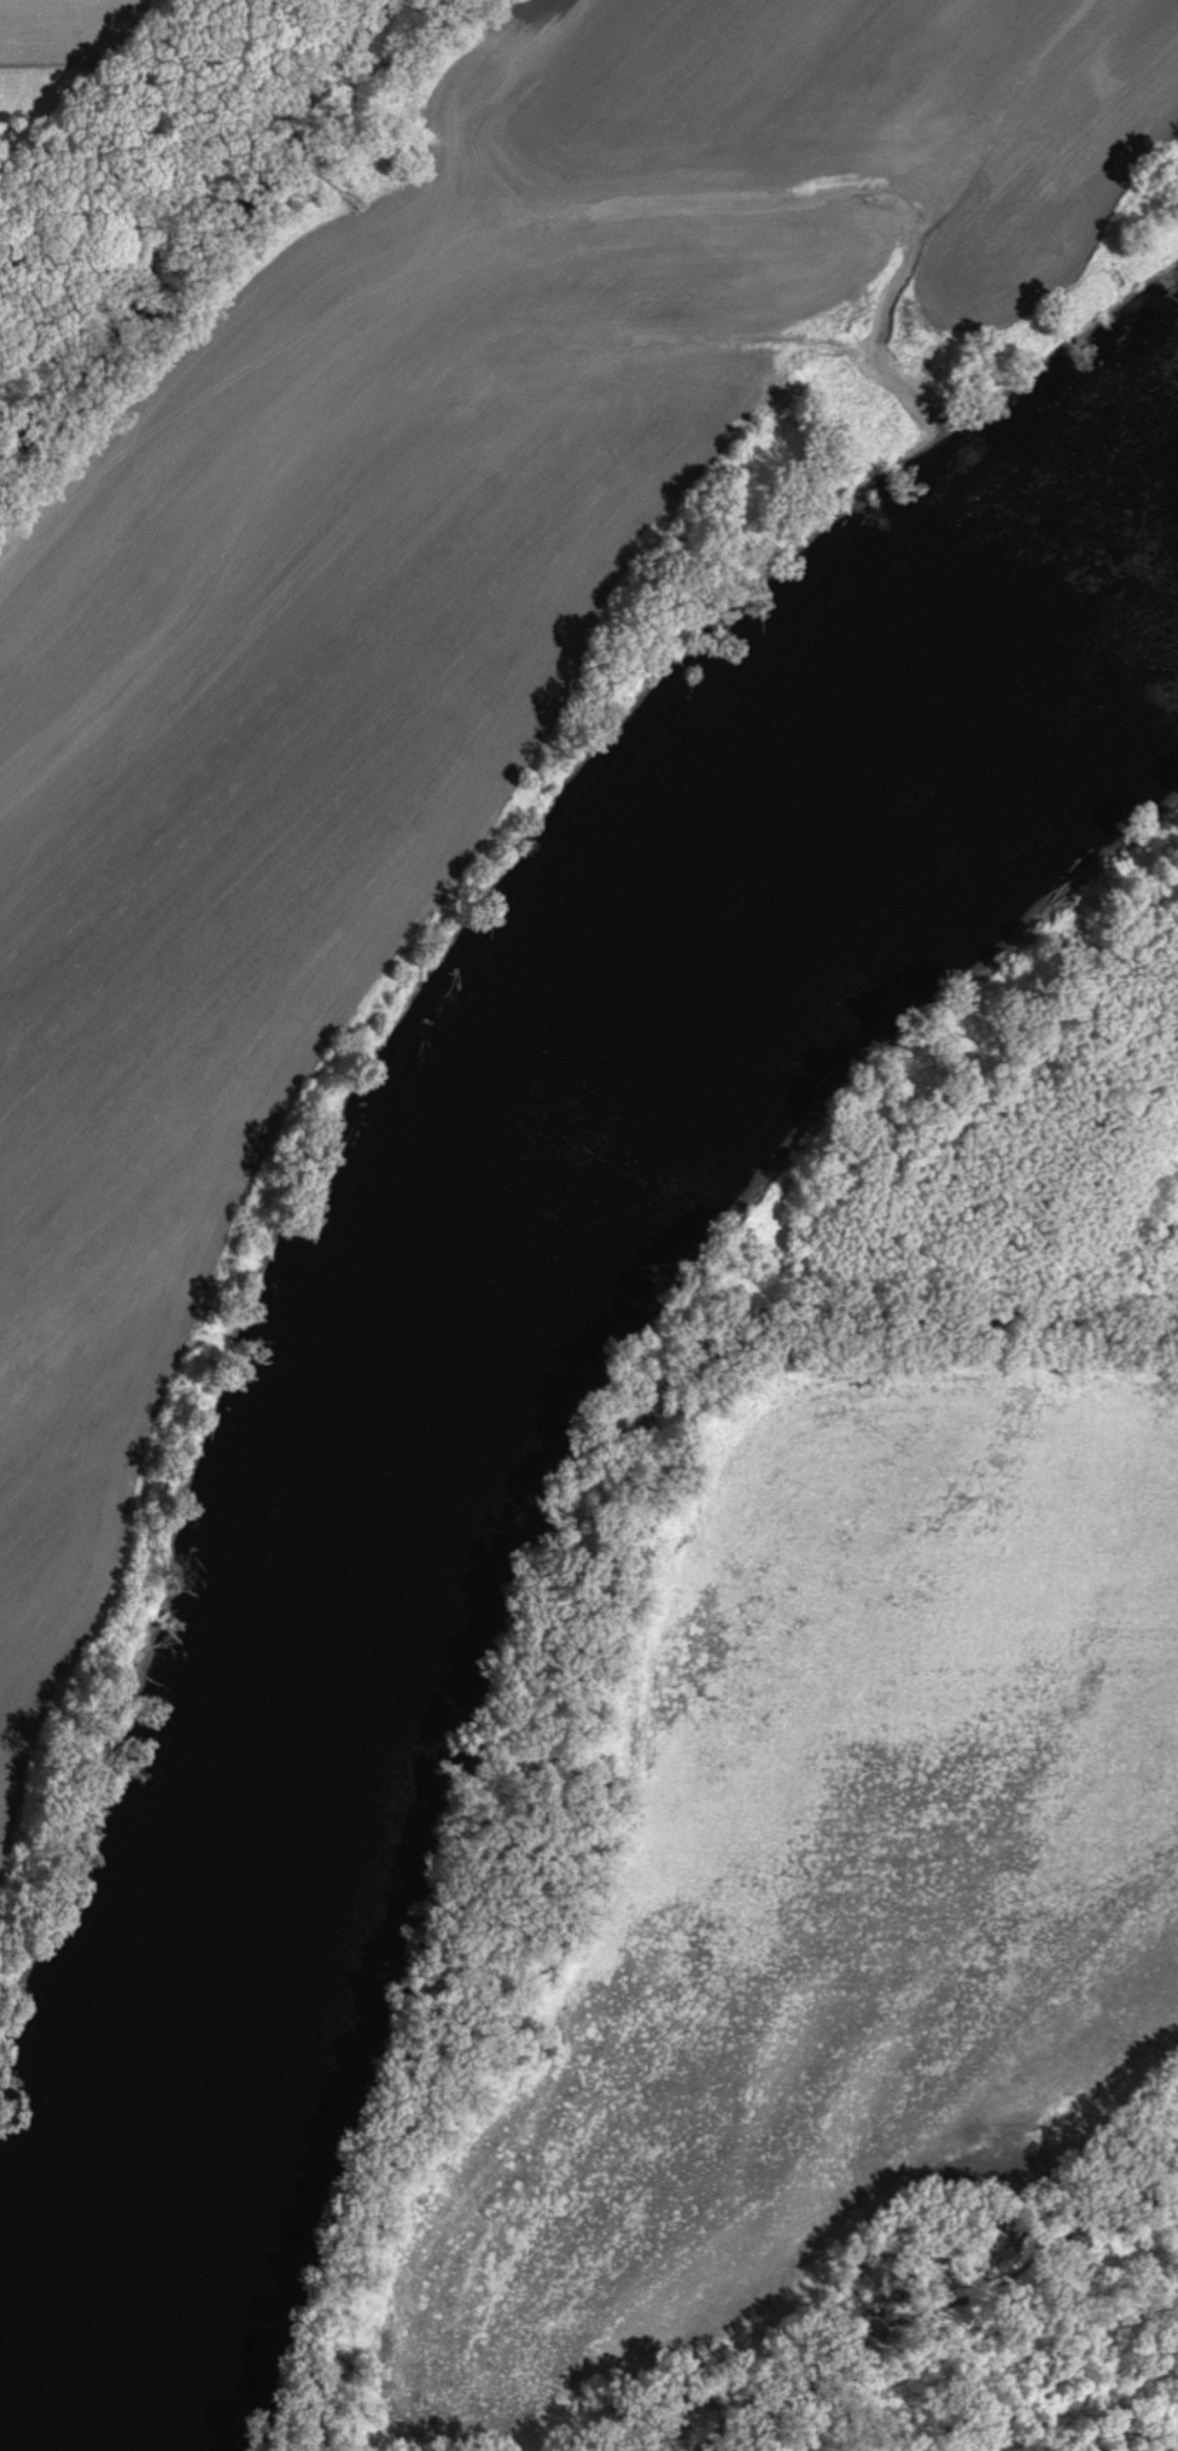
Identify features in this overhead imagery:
river: (492, 1361)

